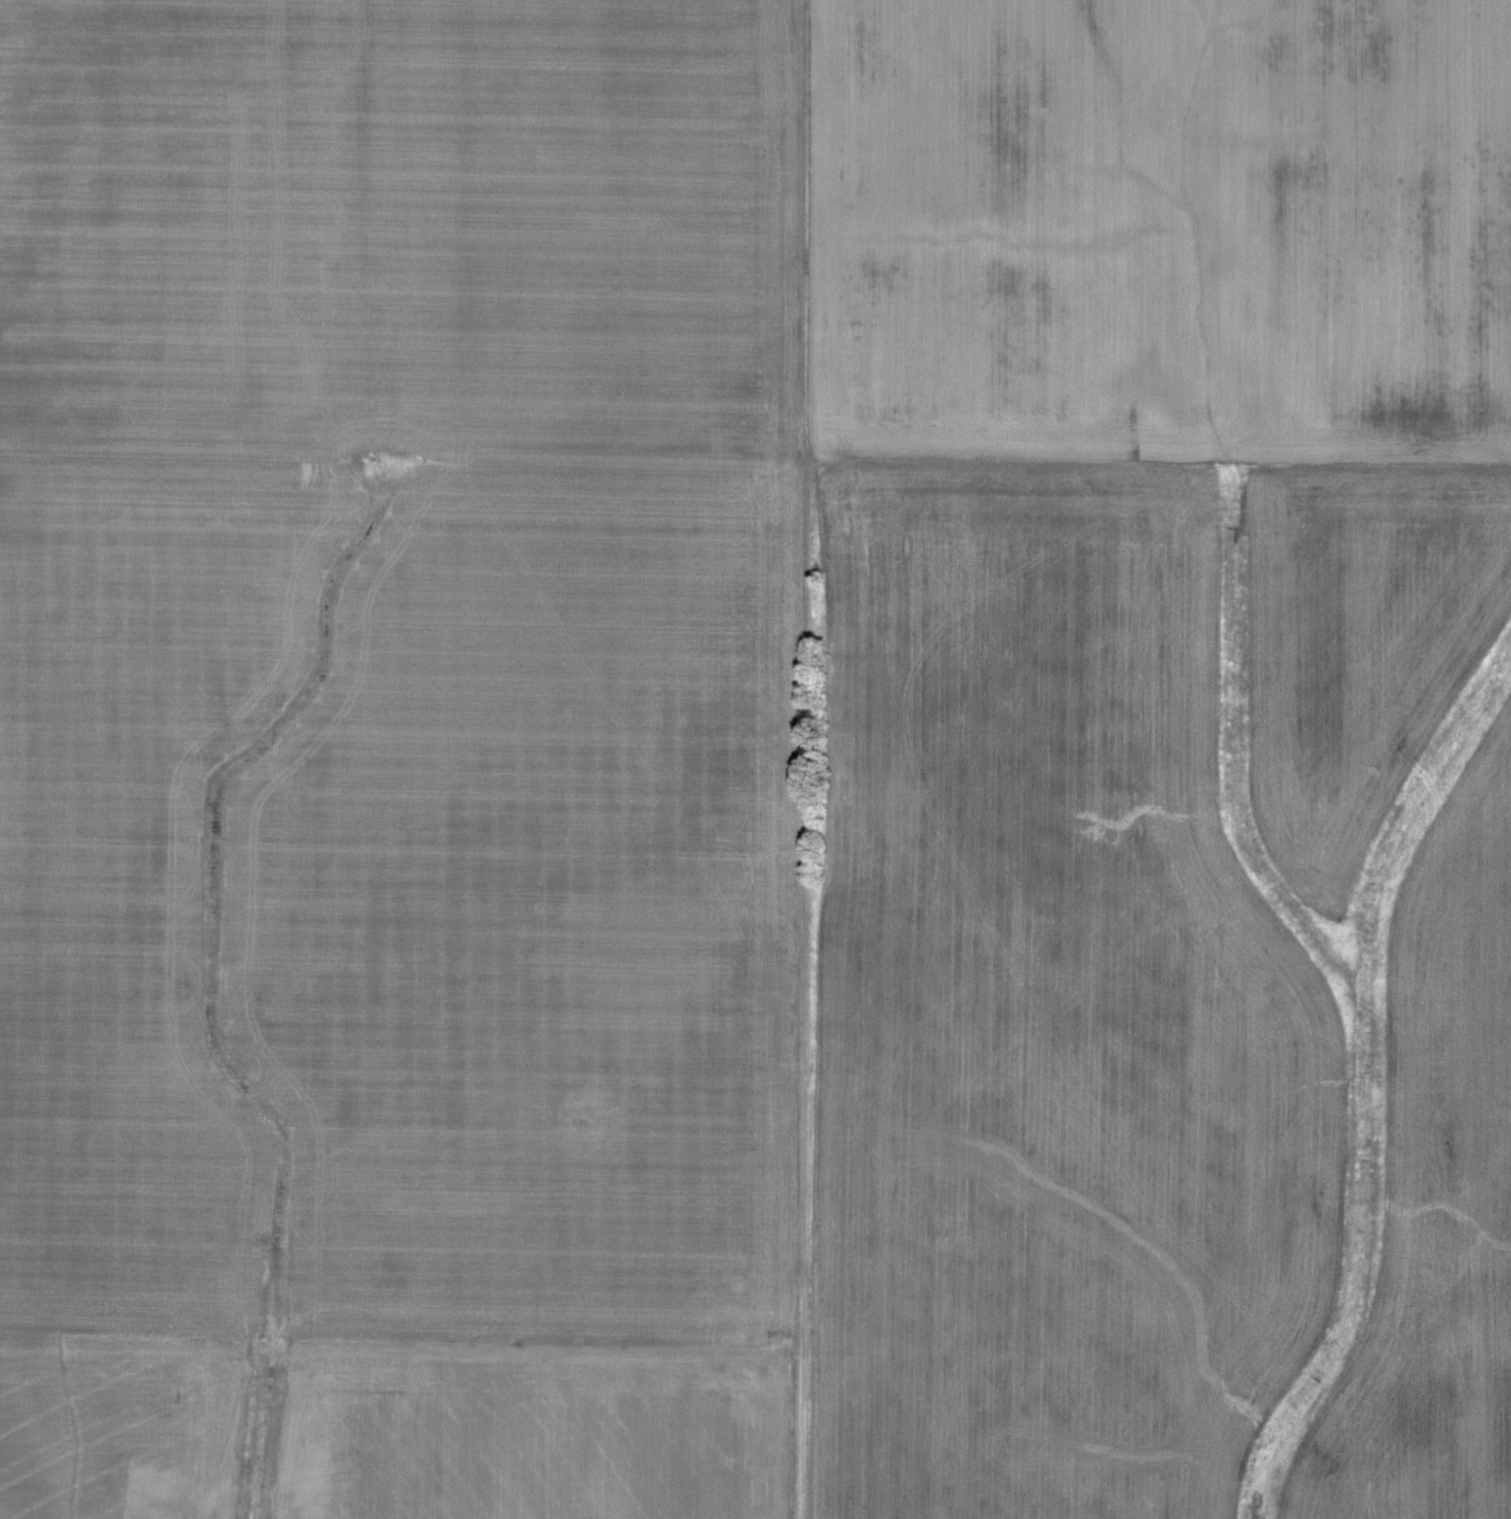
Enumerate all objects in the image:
road: (802, 759)

